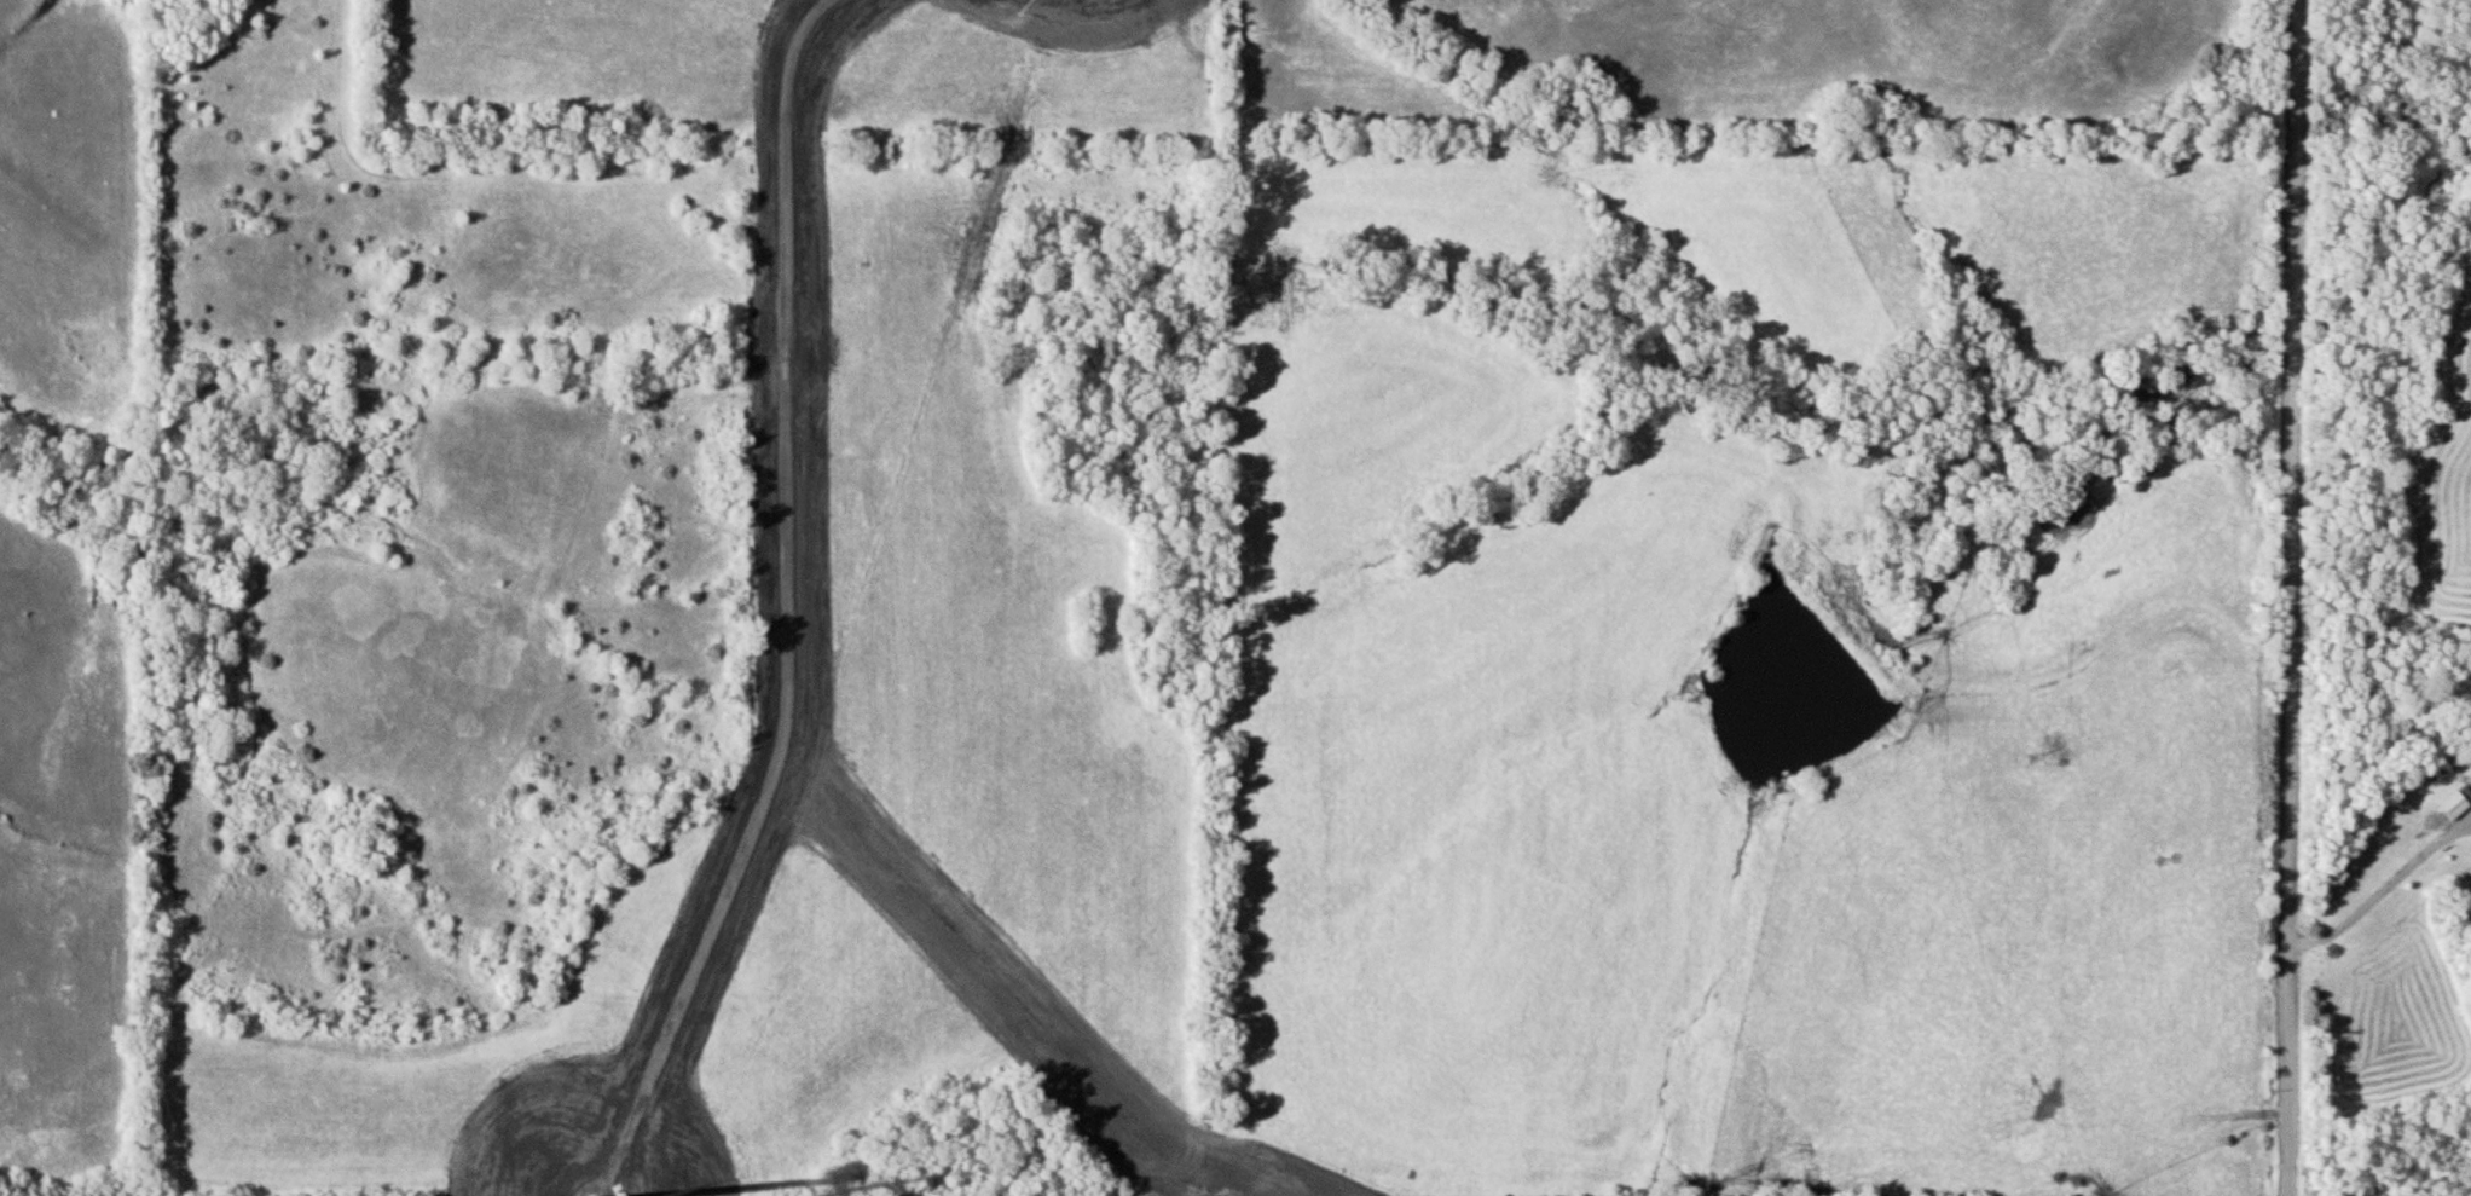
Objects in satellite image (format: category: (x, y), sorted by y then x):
road: (2287, 597)
building: (2448, 804)
road: (2383, 885)

